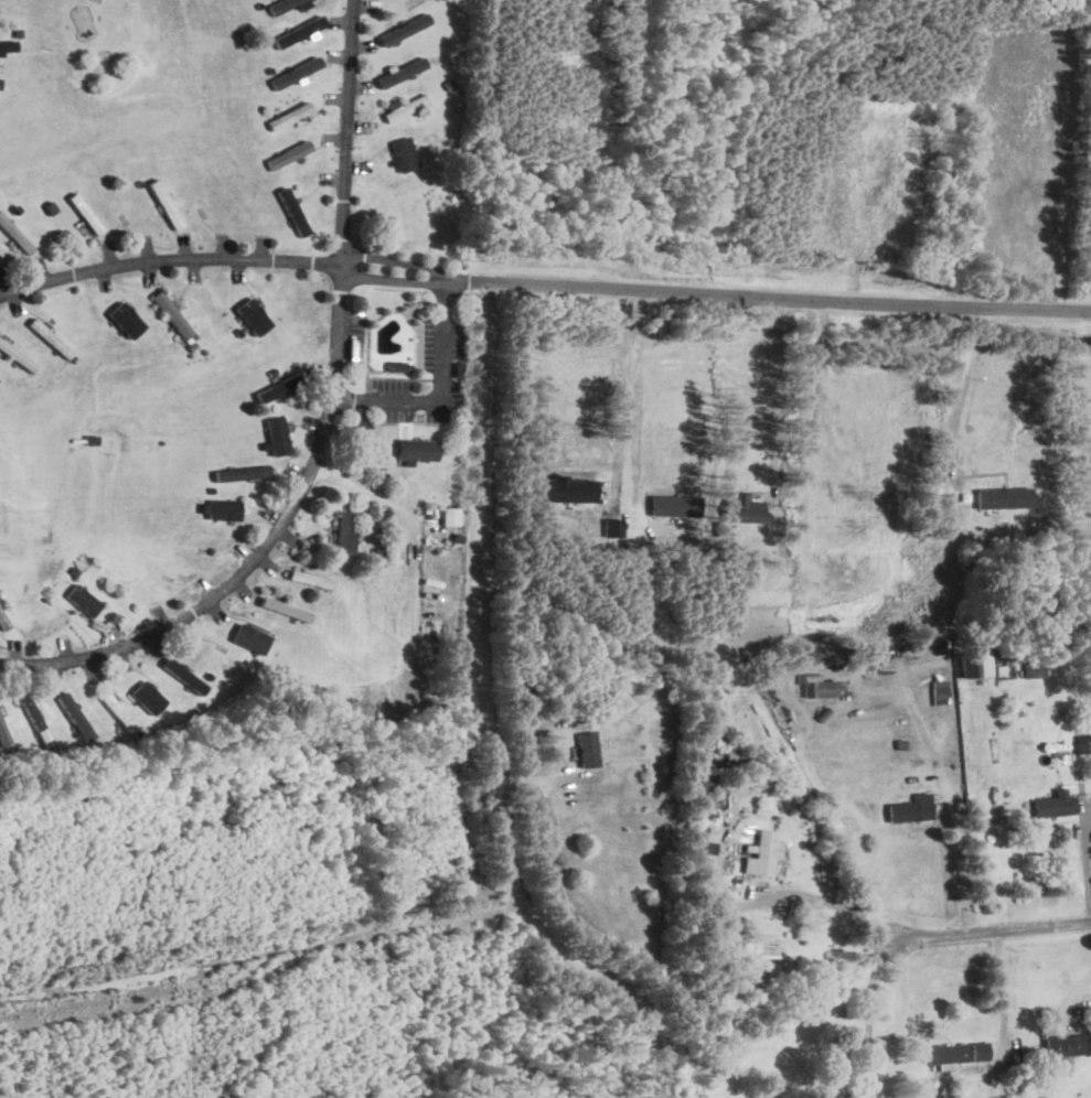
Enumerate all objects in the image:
building: (285, 4)
building: (404, 29)
building: (8, 45)
building: (295, 72)
building: (400, 72)
building: (403, 106)
building: (288, 115)
building: (288, 154)
building: (404, 154)
building: (292, 211)
building: (84, 213)
building: (14, 235)
road: (541, 288)
building: (171, 313)
building: (252, 315)
building: (125, 320)
building: (49, 337)
building: (17, 356)
building: (280, 386)
road: (771, 391)
road: (421, 398)
road: (635, 398)
road: (817, 400)
road: (324, 431)
building: (276, 435)
building: (416, 450)
building: (240, 473)
building: (224, 509)
building: (448, 516)
building: (343, 532)
building: (311, 580)
building: (83, 600)
building: (285, 609)
road: (898, 615)
building: (249, 638)
building: (966, 664)
building: (1030, 668)
building: (814, 685)
building: (940, 689)
building: (147, 697)
building: (117, 711)
building: (74, 715)
building: (36, 722)
road: (489, 722)
building: (2, 734)
building: (1081, 744)
building: (585, 750)
building: (1052, 804)
building: (909, 809)
building: (761, 854)
road: (1083, 862)
road: (985, 929)
road: (999, 989)
road: (1067, 998)
road: (868, 1018)
building: (1066, 1044)
building: (981, 1052)
building: (944, 1054)

